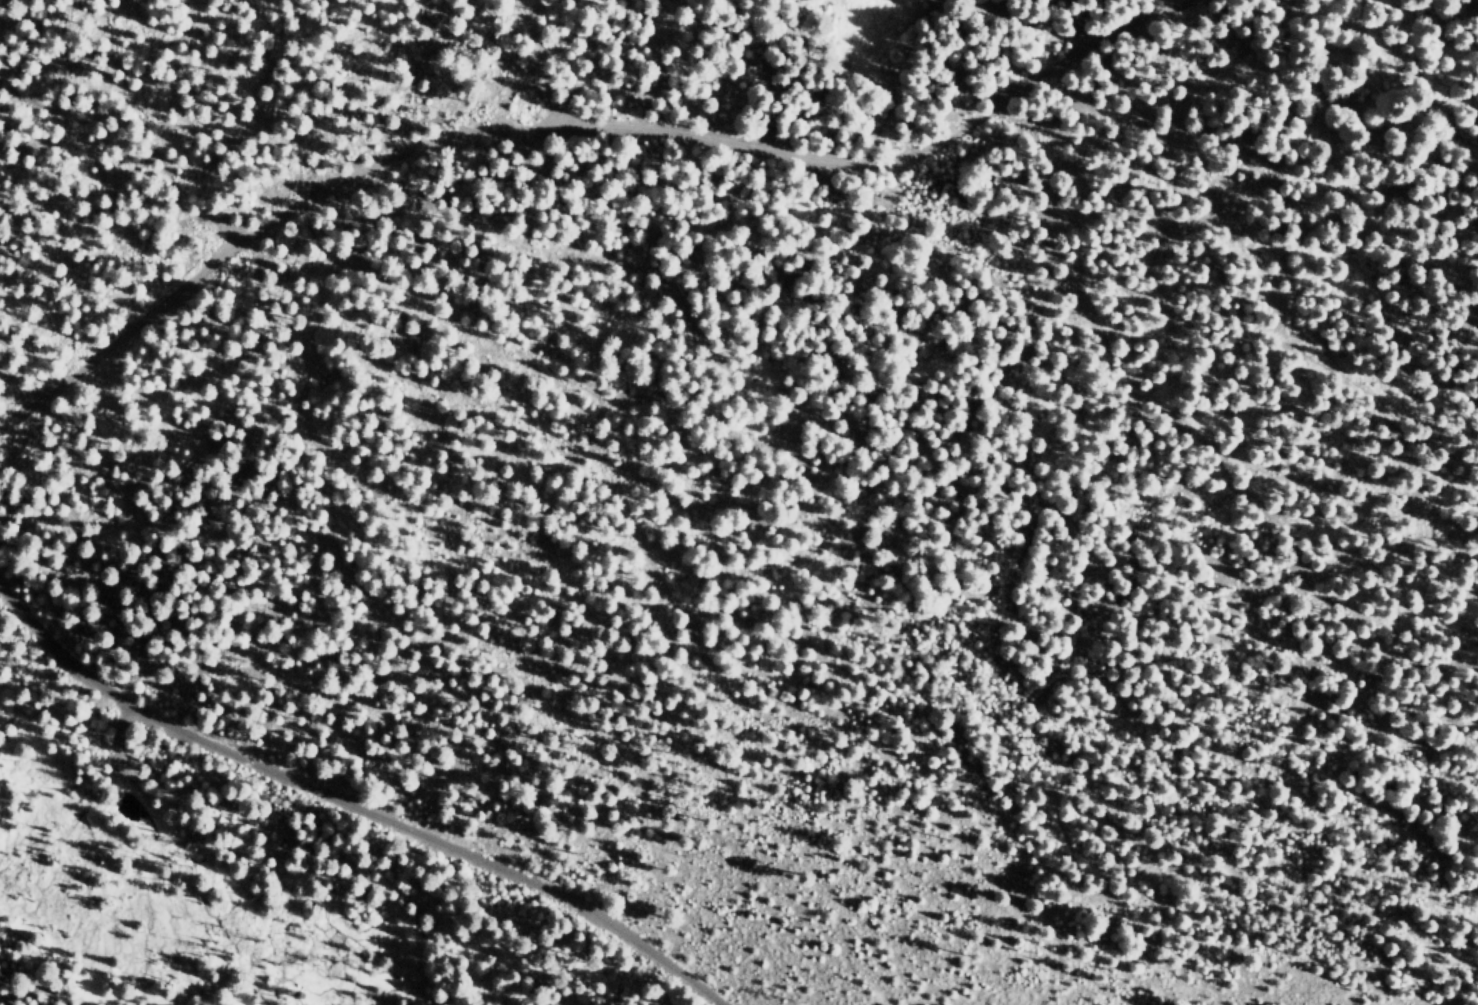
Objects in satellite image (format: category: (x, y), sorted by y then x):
road: (431, 43)
road: (366, 848)

